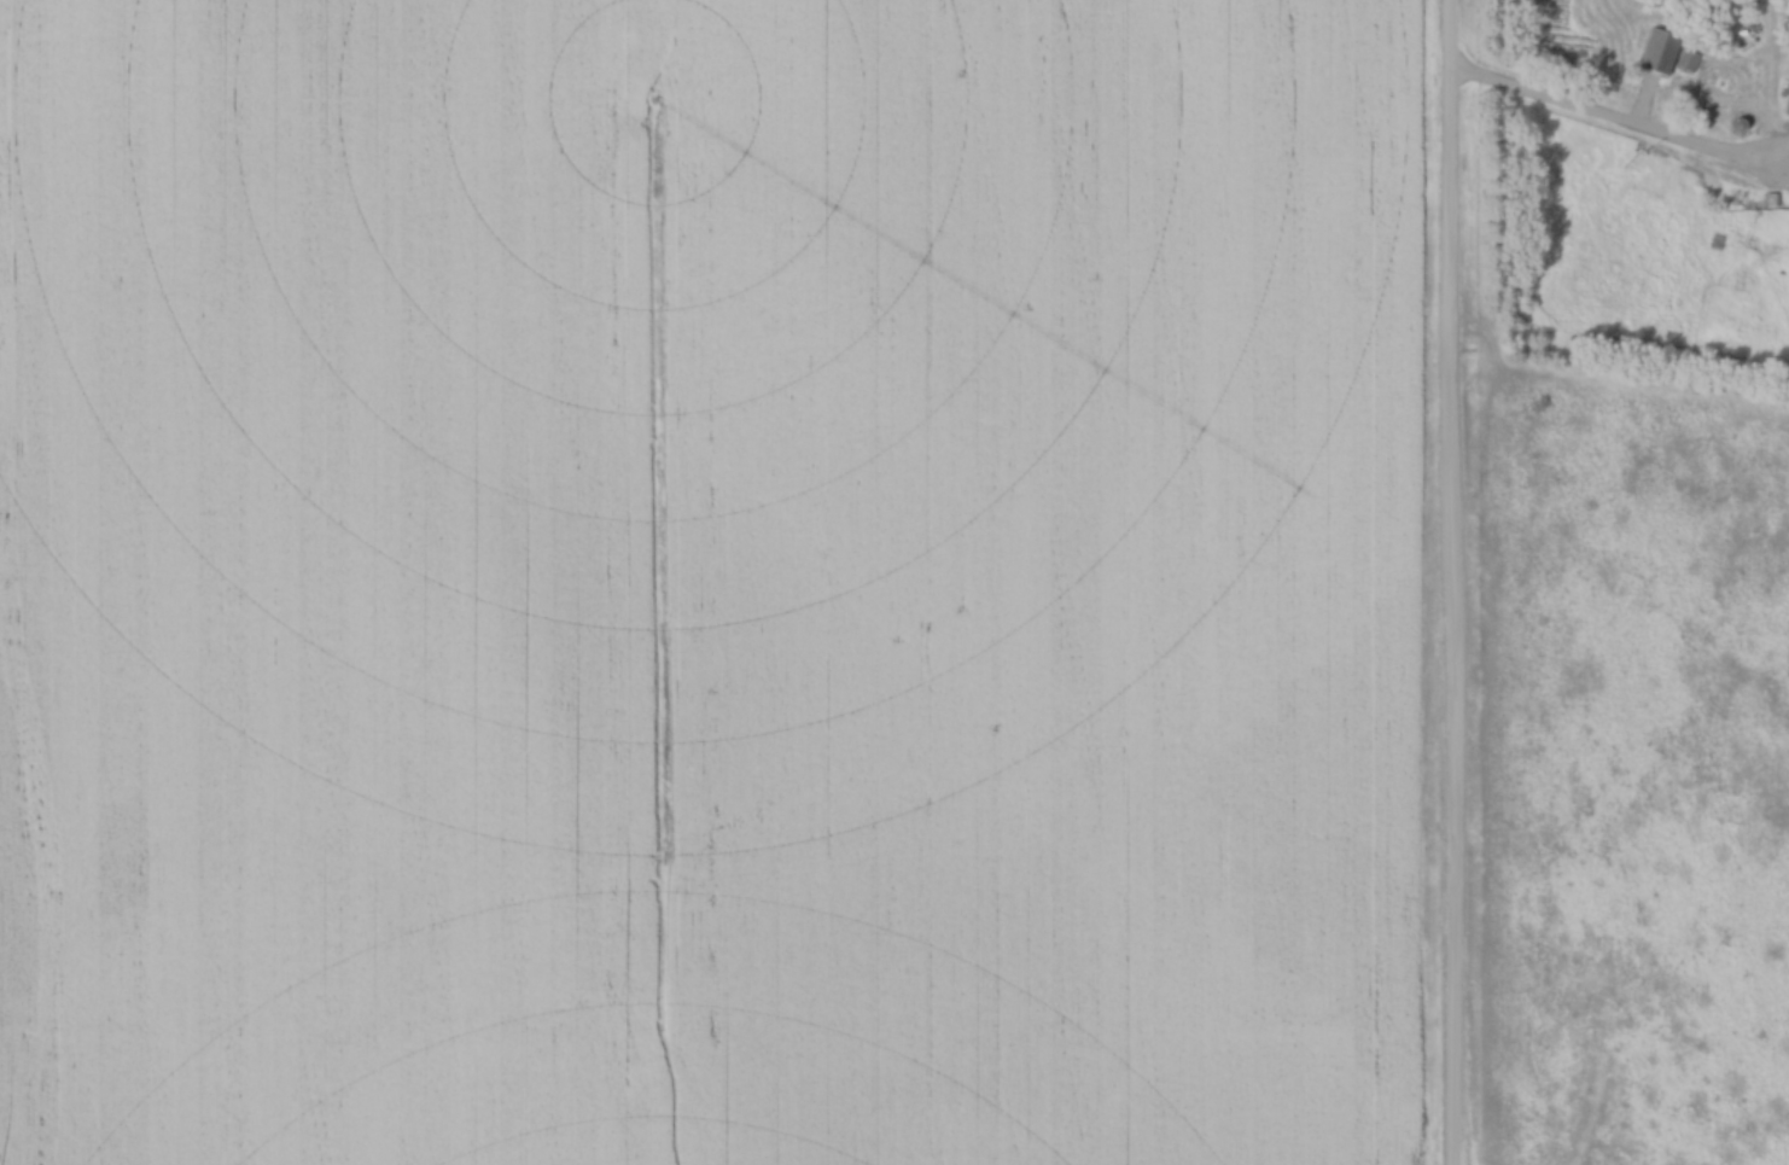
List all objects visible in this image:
building: (1671, 51)
road: (1619, 123)
road: (1451, 582)

